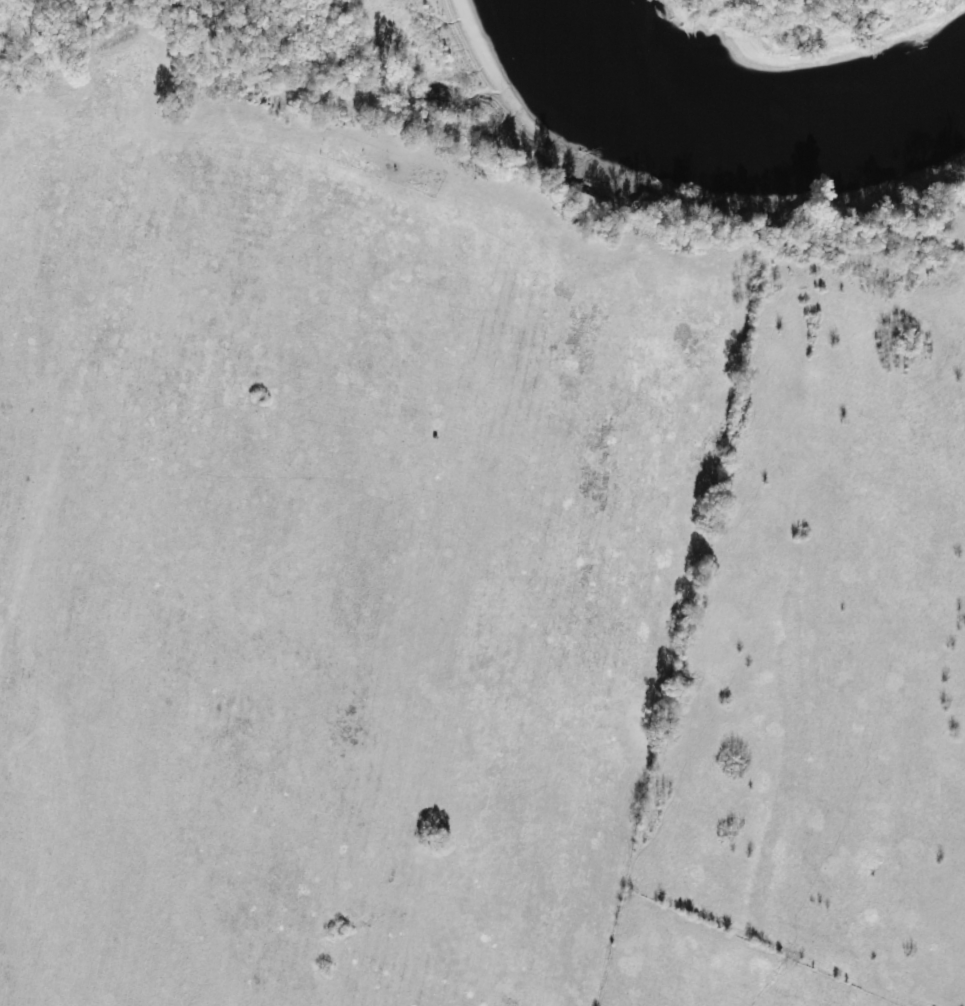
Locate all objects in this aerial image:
river: (725, 106)

